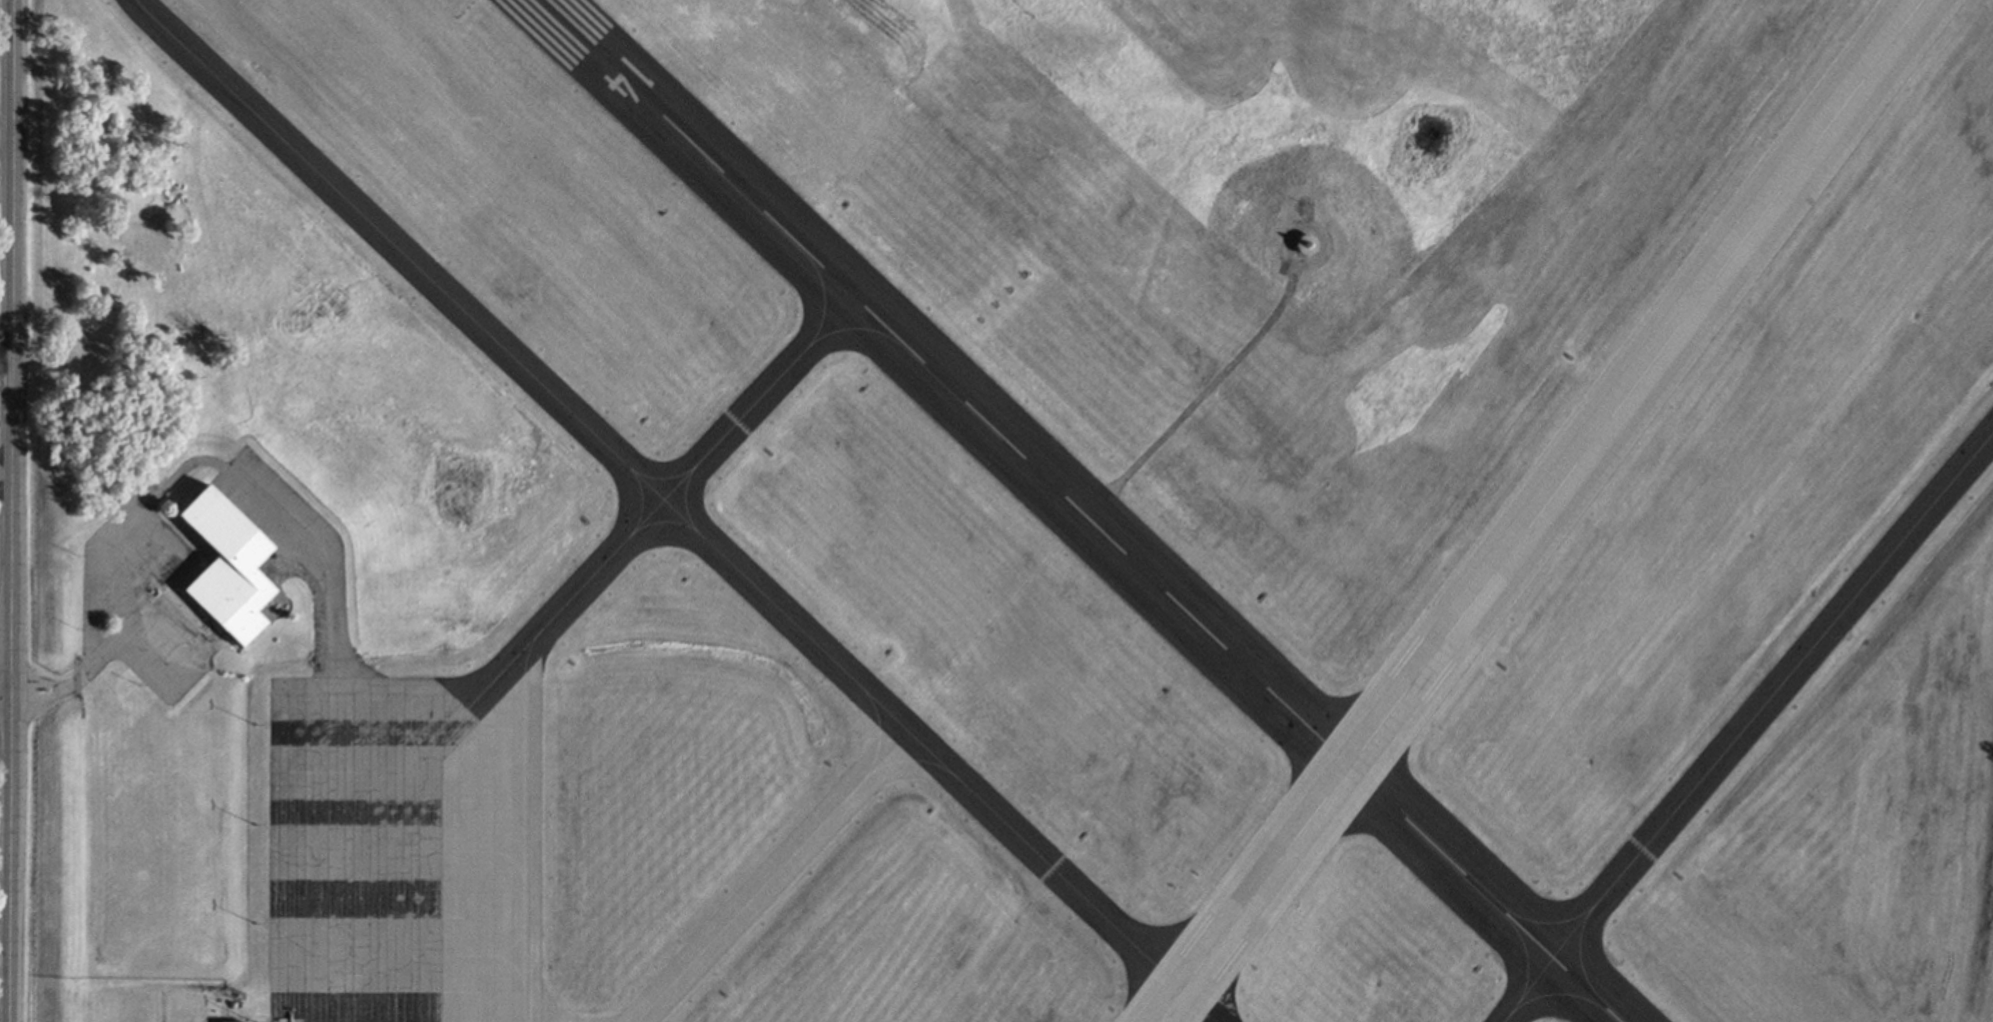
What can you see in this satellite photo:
building: (1304, 249)
road: (3, 360)
airport taxiway: (674, 488)
road: (6, 510)
airport runway: (1076, 510)
airport runway: (1540, 510)
airport: (1015, 511)
airport taxiway: (671, 512)
airport apron: (293, 557)
building: (225, 568)
parking lot: (139, 599)
road: (54, 691)
road: (3, 694)
airport taxiway: (1744, 725)
airport apron: (401, 848)
airport taxiway: (767, 876)
building: (241, 1021)

